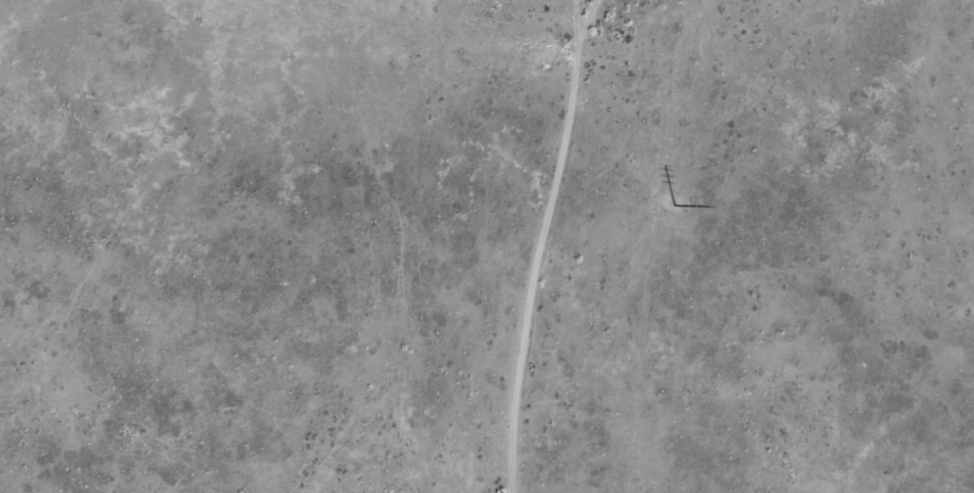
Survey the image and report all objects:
power tower: (671, 203)
road: (531, 244)

